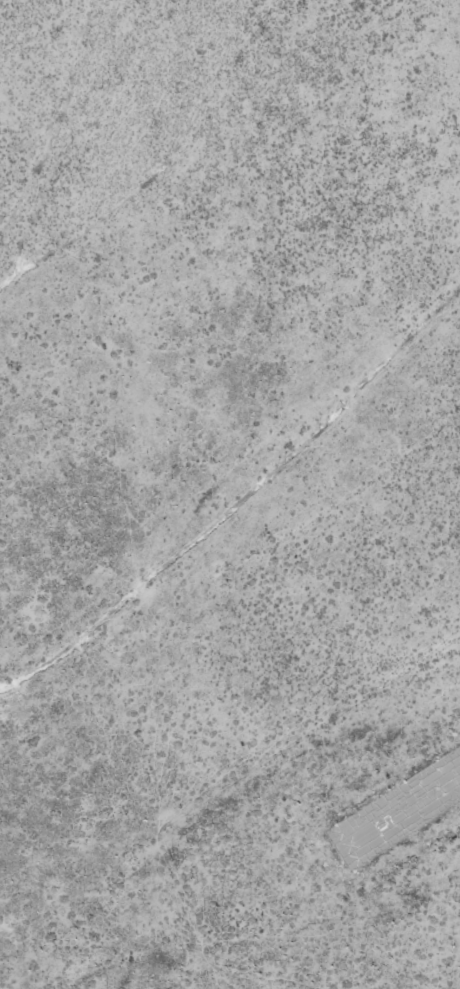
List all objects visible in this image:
airport runway: (404, 805)

